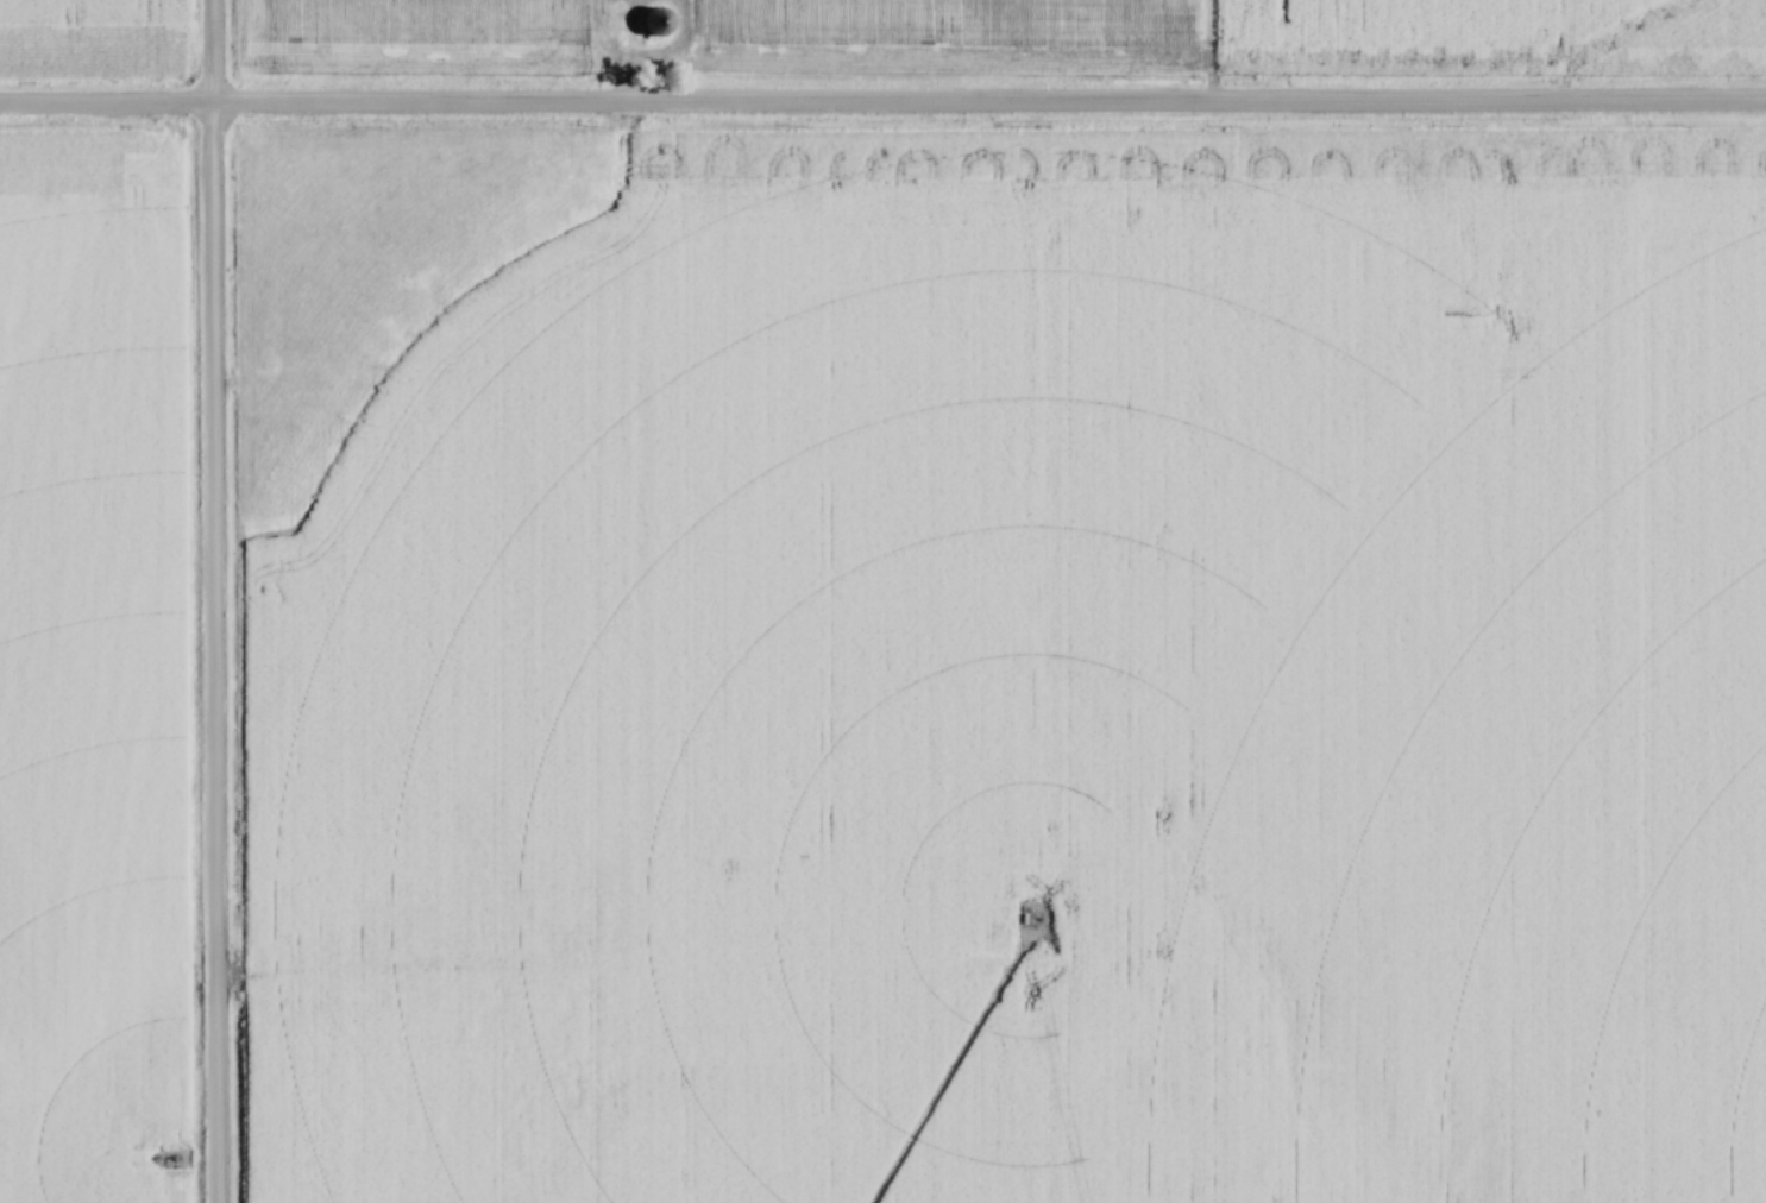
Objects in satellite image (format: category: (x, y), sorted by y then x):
building: (664, 23)
road: (882, 102)
road: (215, 601)

